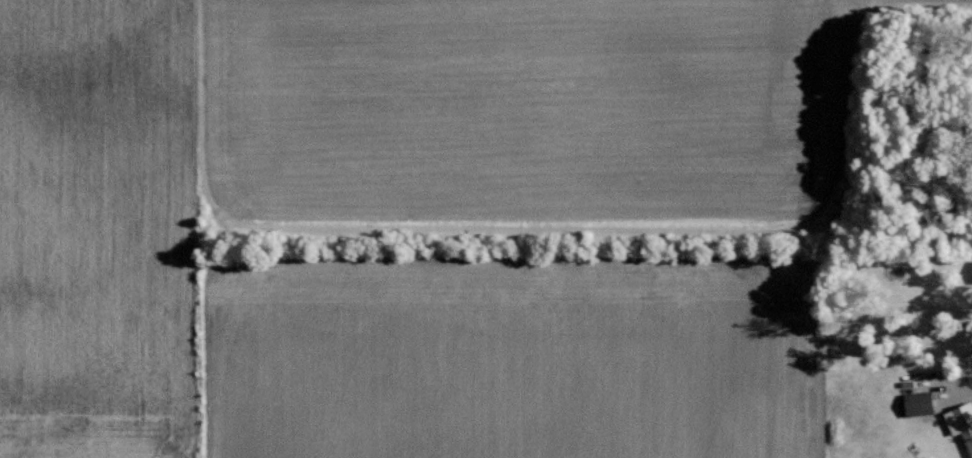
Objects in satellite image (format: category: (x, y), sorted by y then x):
road: (943, 384)
building: (922, 404)

